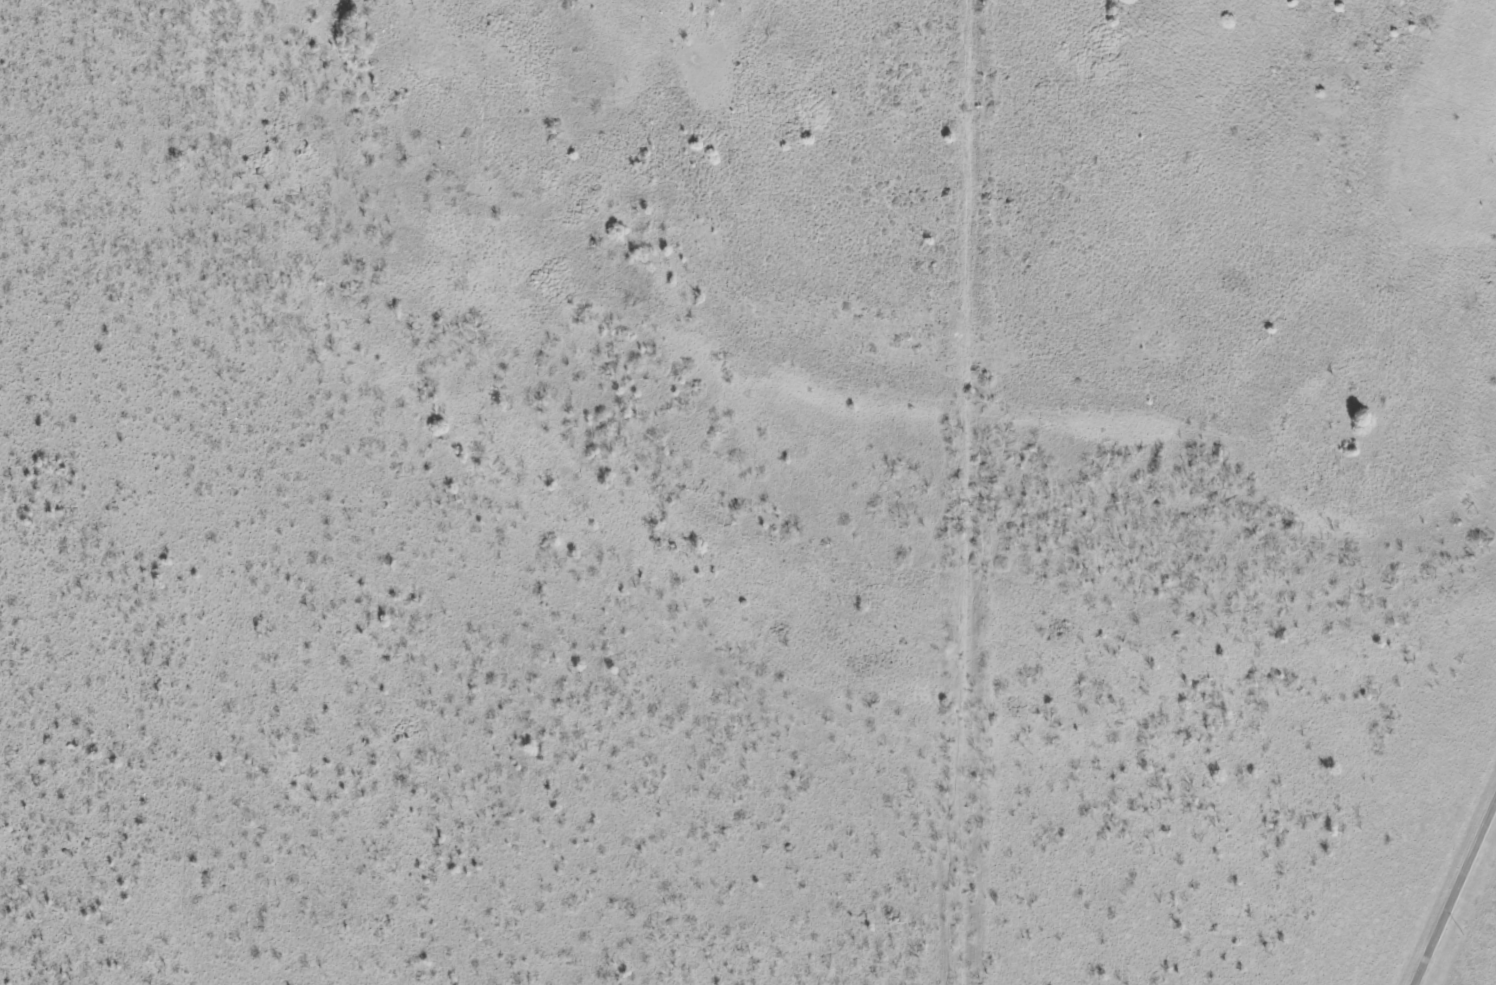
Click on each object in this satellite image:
road: (1453, 889)

